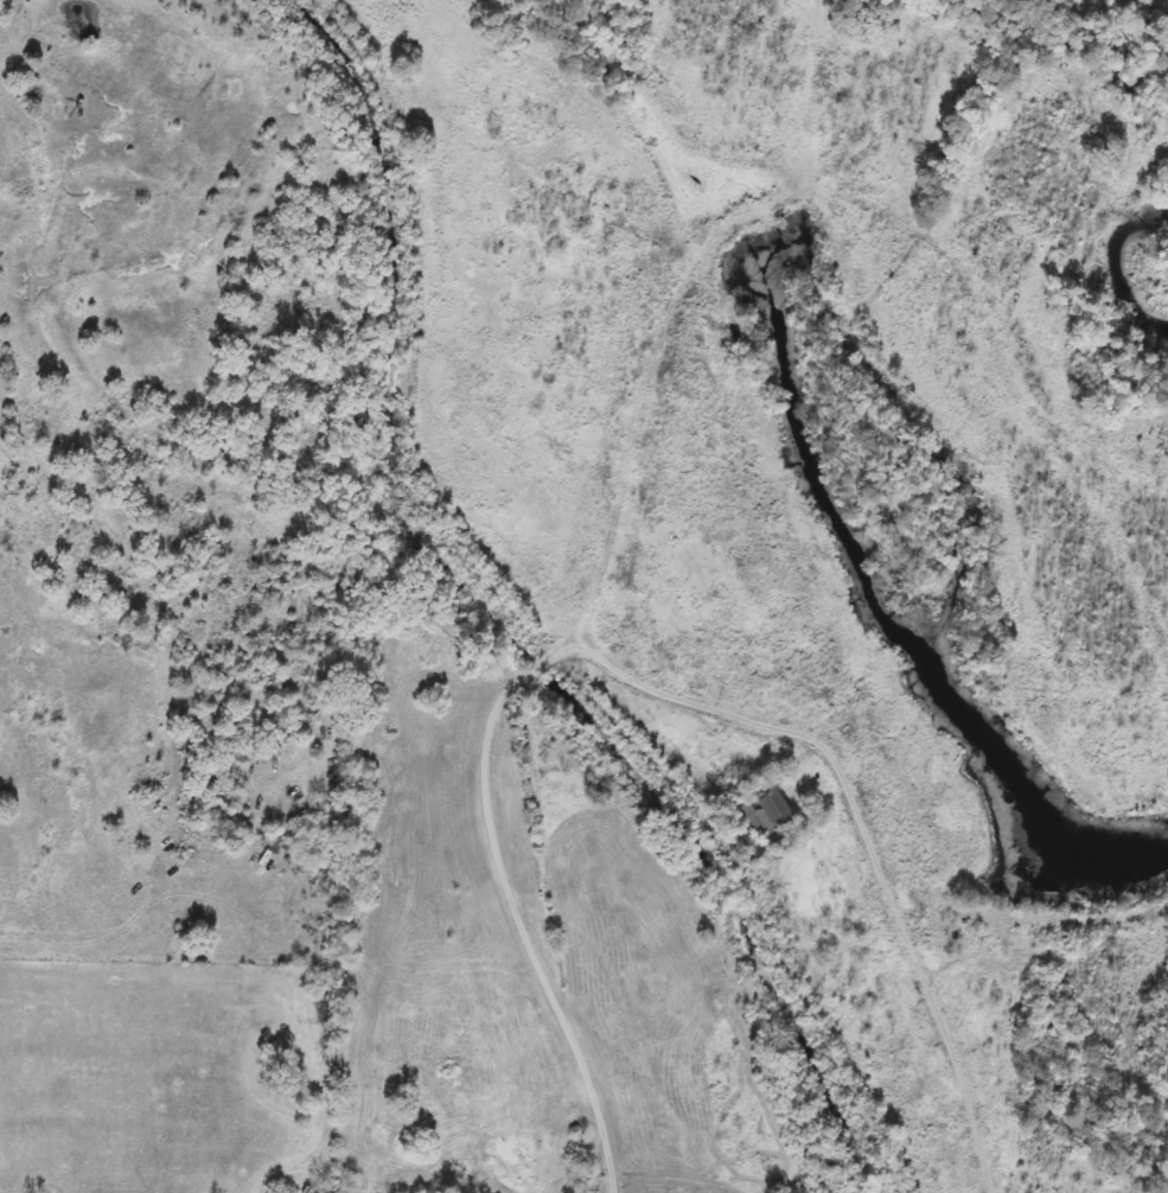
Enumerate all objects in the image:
river: (1126, 264)
road: (480, 771)
building: (771, 811)

